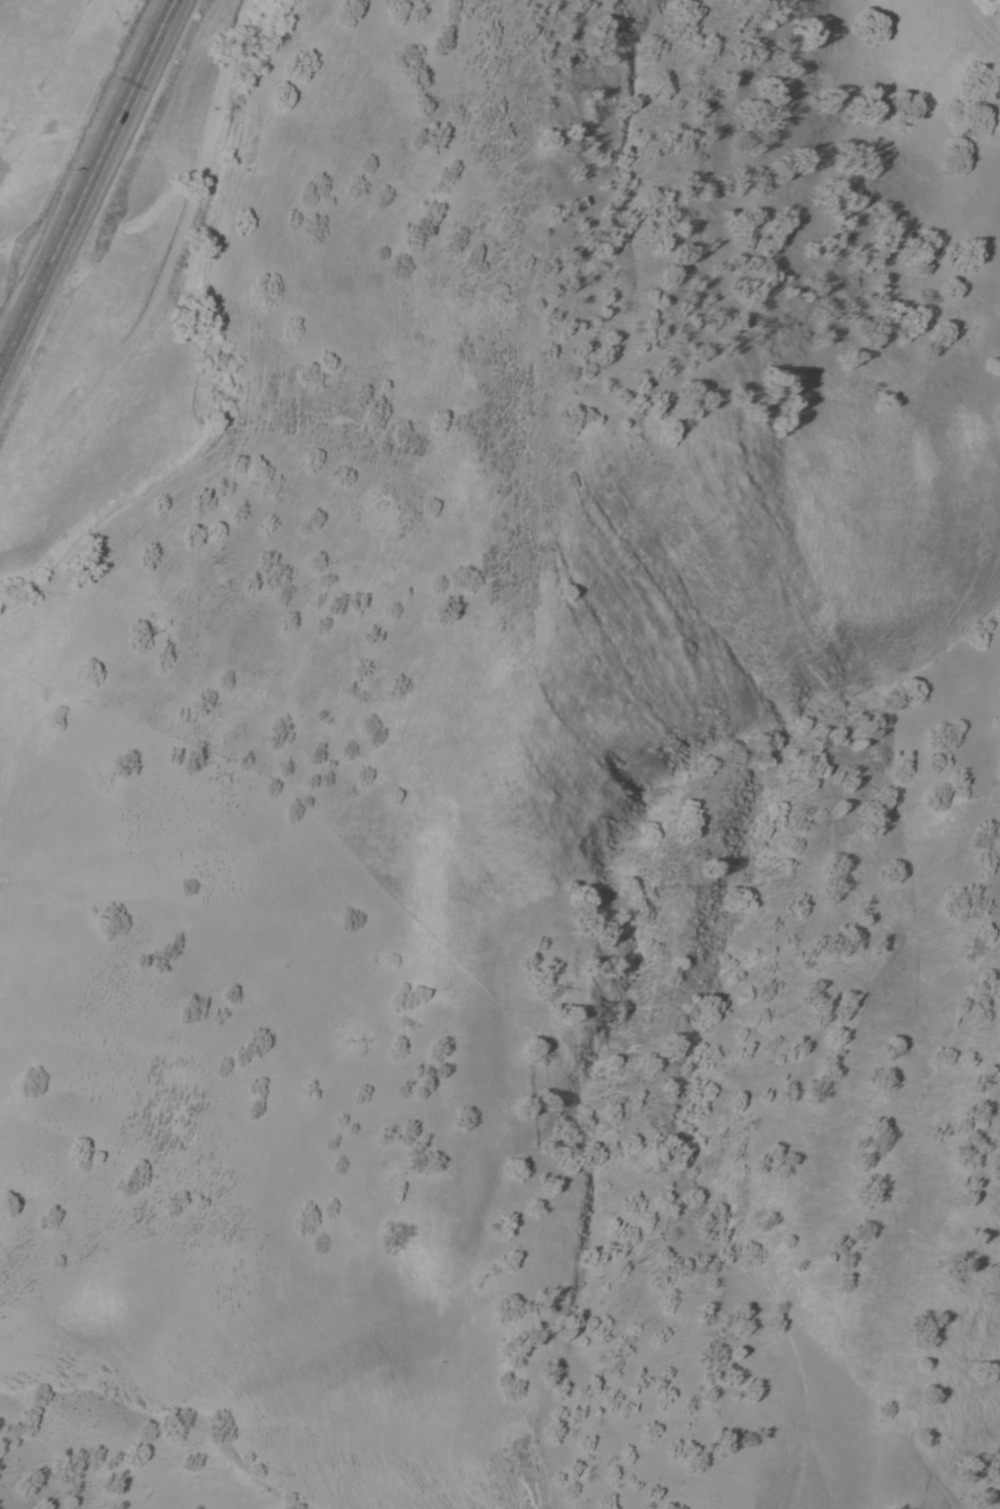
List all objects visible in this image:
road: (87, 185)

